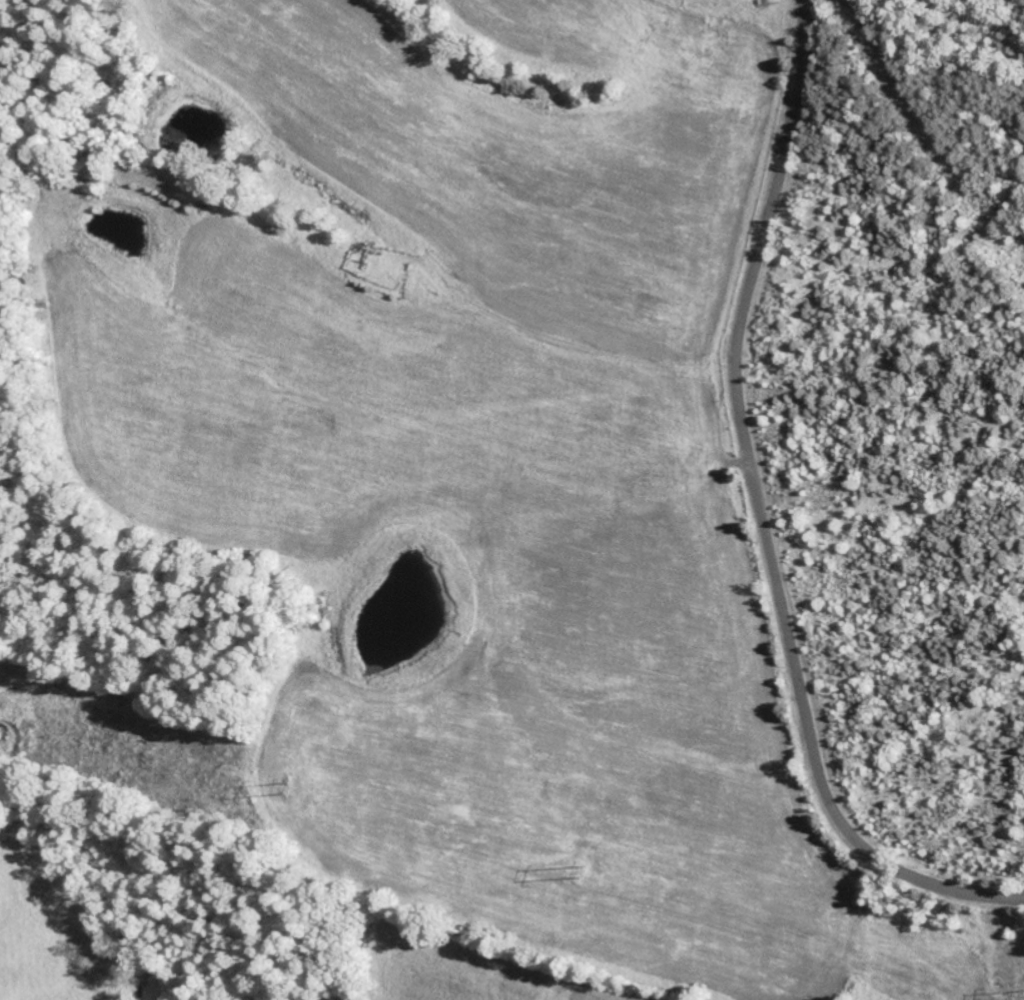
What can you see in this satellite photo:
road: (763, 512)
power tower: (286, 790)
power tower: (581, 873)

